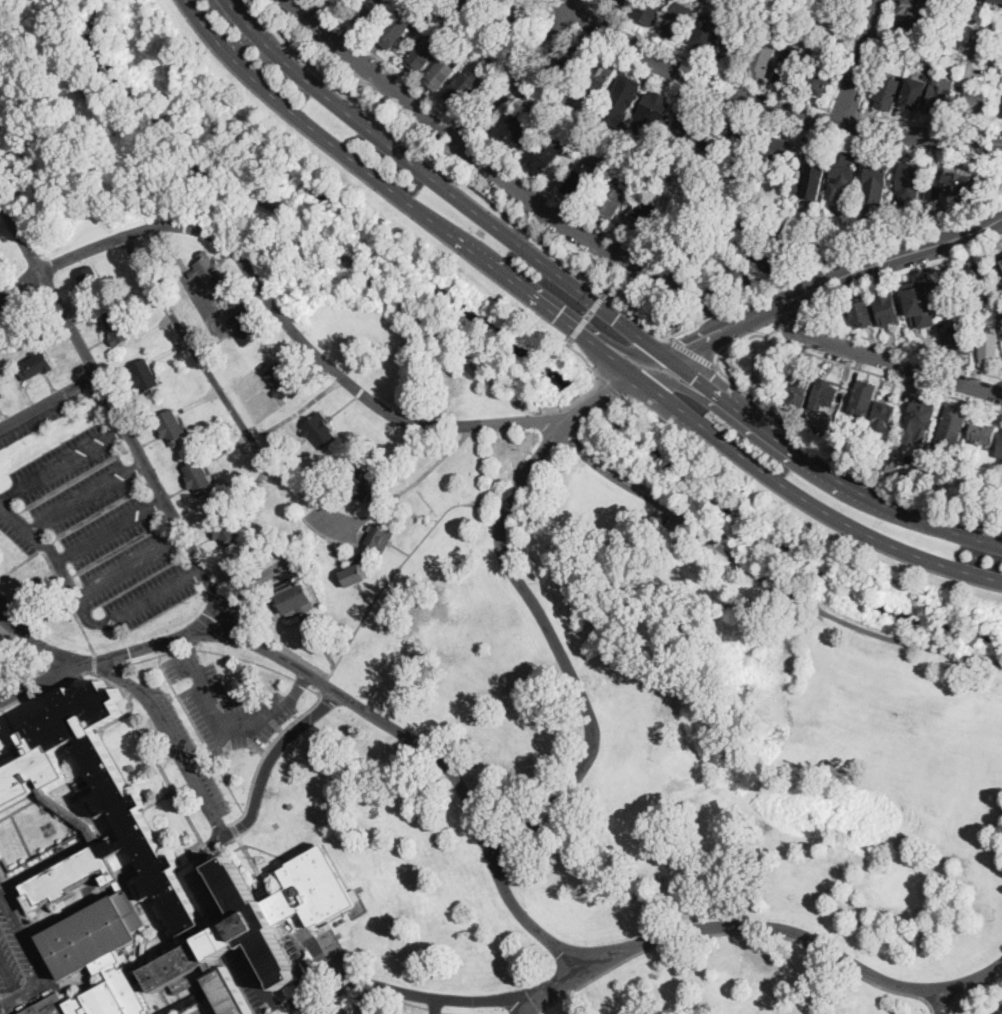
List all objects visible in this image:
building: (338, 1)
building: (995, 1)
road: (585, 3)
road: (592, 3)
building: (621, 4)
building: (478, 5)
road: (544, 7)
road: (558, 7)
building: (923, 8)
building: (648, 11)
building: (840, 12)
building: (370, 14)
road: (581, 16)
building: (510, 17)
road: (816, 20)
building: (419, 21)
building: (677, 21)
building: (786, 23)
building: (394, 26)
building: (914, 29)
building: (829, 34)
building: (705, 35)
building: (732, 44)
building: (990, 47)
building: (905, 48)
building: (422, 54)
road: (849, 55)
building: (570, 56)
building: (924, 56)
building: (762, 60)
road: (386, 61)
road: (862, 63)
building: (790, 66)
building: (493, 67)
road: (705, 67)
road: (967, 70)
building: (442, 71)
road: (517, 71)
building: (599, 76)
building: (820, 78)
building: (462, 87)
building: (888, 93)
building: (625, 94)
building: (915, 94)
building: (941, 96)
building: (566, 98)
building: (532, 104)
building: (979, 105)
building: (568, 107)
building: (655, 107)
road: (769, 107)
road: (844, 112)
road: (870, 115)
building: (685, 122)
road: (824, 123)
road: (776, 125)
road: (854, 127)
road: (469, 131)
building: (513, 132)
building: (713, 136)
building: (744, 145)
road: (632, 152)
building: (778, 153)
building: (542, 157)
building: (625, 162)
building: (815, 170)
building: (841, 174)
building: (655, 175)
building: (798, 175)
road: (376, 177)
building: (875, 180)
building: (909, 180)
road: (505, 181)
building: (579, 181)
road: (443, 186)
building: (795, 188)
building: (959, 188)
building: (932, 195)
building: (611, 199)
road: (287, 215)
building: (635, 220)
building: (812, 220)
building: (748, 221)
building: (919, 224)
road: (606, 228)
building: (676, 236)
building: (742, 239)
building: (793, 241)
road: (873, 246)
building: (704, 249)
building: (1001, 254)
building: (1001, 260)
building: (769, 261)
road: (875, 262)
building: (209, 271)
building: (739, 275)
building: (91, 280)
building: (977, 280)
building: (948, 290)
road: (273, 302)
road: (597, 302)
building: (920, 303)
building: (886, 308)
building: (861, 310)
road: (722, 312)
road: (589, 314)
road: (802, 315)
traffic signals: (557, 316)
traffic signals: (617, 319)
building: (942, 322)
road: (788, 323)
road: (650, 326)
building: (244, 327)
road: (579, 327)
building: (118, 328)
road: (771, 334)
road: (711, 337)
building: (959, 342)
building: (989, 347)
road: (625, 352)
road: (692, 352)
road: (876, 357)
road: (827, 359)
building: (36, 365)
building: (145, 377)
building: (283, 382)
road: (597, 382)
road: (610, 385)
building: (798, 391)
building: (825, 393)
building: (1, 395)
road: (620, 395)
road: (700, 396)
building: (862, 398)
road: (48, 400)
road: (117, 411)
parking lot: (37, 413)
road: (571, 417)
building: (920, 417)
building: (882, 420)
building: (172, 427)
building: (951, 428)
building: (320, 430)
road: (115, 431)
building: (982, 434)
building: (1000, 448)
road: (265, 461)
road: (60, 463)
road: (135, 465)
building: (882, 465)
building: (892, 467)
road: (824, 472)
building: (199, 477)
road: (623, 479)
road: (779, 482)
building: (363, 483)
road: (7, 493)
road: (83, 496)
road: (155, 504)
parking lot: (678, 518)
road: (21, 524)
road: (33, 526)
building: (225, 528)
parking lot: (92, 531)
road: (107, 531)
building: (379, 537)
road: (61, 556)
road: (135, 562)
road: (194, 571)
building: (356, 574)
road: (71, 592)
road: (80, 593)
road: (148, 597)
building: (294, 598)
road: (537, 608)
road: (841, 619)
road: (12, 625)
park: (418, 625)
road: (182, 641)
road: (56, 650)
building: (791, 662)
road: (44, 679)
parking lot: (10, 681)
road: (298, 685)
parking lot: (223, 704)
road: (216, 720)
road: (395, 728)
road: (167, 738)
parking lot: (179, 747)
road: (255, 795)
building: (144, 874)
road: (735, 932)
road: (812, 937)
parking lot: (14, 939)
parking lot: (332, 947)
road: (34, 954)
parking lot: (8, 968)
road: (9, 977)
road: (316, 991)
road: (374, 992)
road: (445, 999)
road: (943, 1000)
parking lot: (326, 1005)
parking lot: (379, 1006)
road: (434, 1006)
road: (527, 1006)
road: (377, 1007)
building: (151, 1013)

